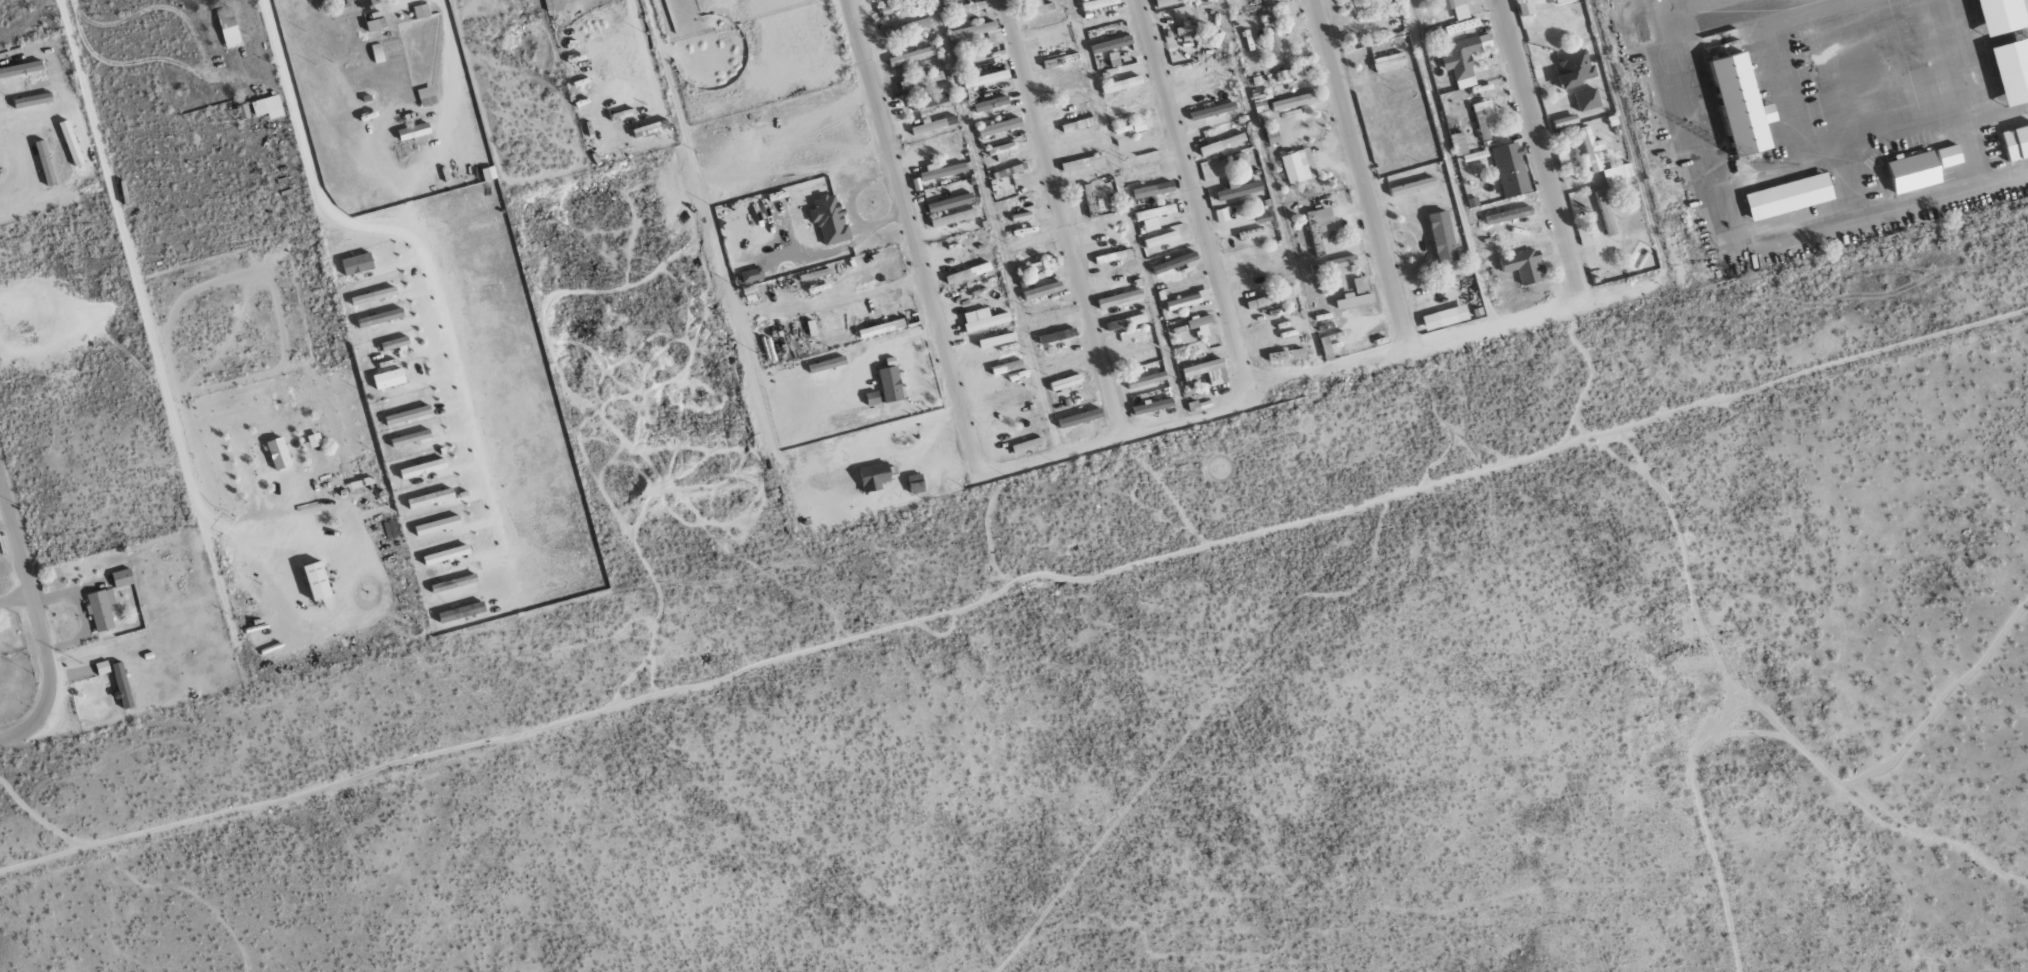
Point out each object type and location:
building: (1562, 1)
building: (360, 2)
building: (1168, 2)
building: (1097, 4)
building: (900, 6)
building: (1038, 6)
building: (969, 7)
building: (1457, 7)
building: (1524, 8)
building: (420, 10)
building: (2000, 16)
building: (1098, 22)
building: (375, 24)
building: (1461, 26)
building: (907, 27)
building: (228, 28)
building: (1270, 29)
building: (978, 32)
building: (1110, 44)
building: (910, 56)
building: (1462, 57)
building: (1060, 60)
building: (1389, 62)
road: (448, 67)
building: (20, 68)
building: (1575, 68)
building: (2012, 71)
building: (1203, 78)
building: (920, 79)
building: (1120, 84)
building: (425, 96)
building: (1587, 99)
building: (32, 100)
building: (1125, 101)
building: (1292, 101)
building: (990, 103)
building: (1741, 104)
building: (267, 107)
building: (1212, 111)
building: (1483, 119)
building: (932, 125)
building: (1138, 125)
building: (999, 126)
building: (412, 131)
building: (70, 142)
building: (2015, 143)
building: (1139, 144)
building: (1221, 144)
building: (1457, 144)
building: (1591, 149)
building: (1001, 150)
road: (1541, 152)
building: (1238, 159)
building: (1144, 160)
building: (1564, 161)
building: (45, 163)
building: (1081, 163)
building: (1297, 165)
building: (1510, 169)
building: (940, 171)
building: (1617, 172)
building: (1913, 172)
building: (488, 173)
road: (1363, 175)
building: (1003, 178)
building: (1152, 190)
building: (1238, 190)
building: (1788, 196)
road: (1196, 198)
building: (949, 202)
building: (1154, 212)
building: (1220, 215)
building: (1508, 215)
building: (952, 217)
road: (1061, 218)
building: (829, 219)
building: (1319, 219)
building: (1441, 237)
road: (1740, 237)
building: (1160, 239)
building: (1030, 241)
road: (913, 252)
building: (1173, 262)
building: (356, 263)
building: (1333, 264)
building: (1523, 265)
building: (1039, 266)
building: (967, 273)
building: (750, 275)
building: (1361, 285)
building: (1042, 290)
building: (747, 293)
building: (373, 296)
building: (1119, 298)
building: (1353, 300)
building: (1182, 302)
building: (379, 317)
building: (1444, 317)
building: (982, 319)
building: (1198, 321)
building: (1125, 322)
building: (810, 328)
building: (880, 328)
road: (155, 335)
building: (1056, 336)
building: (996, 340)
building: (394, 343)
building: (1329, 344)
building: (1133, 349)
building: (1285, 355)
building: (1064, 359)
building: (826, 364)
building: (1006, 367)
building: (1205, 372)
road: (1319, 376)
building: (387, 379)
building: (1146, 380)
building: (1065, 382)
building: (889, 384)
building: (1152, 406)
building: (407, 415)
building: (1079, 418)
building: (410, 438)
building: (313, 440)
building: (1022, 445)
building: (278, 453)
building: (422, 468)
building: (873, 477)
building: (915, 483)
building: (429, 499)
building: (436, 526)
building: (445, 555)
road: (22, 560)
building: (121, 578)
building: (316, 581)
building: (100, 609)
building: (101, 667)
building: (122, 686)
road: (45, 703)

